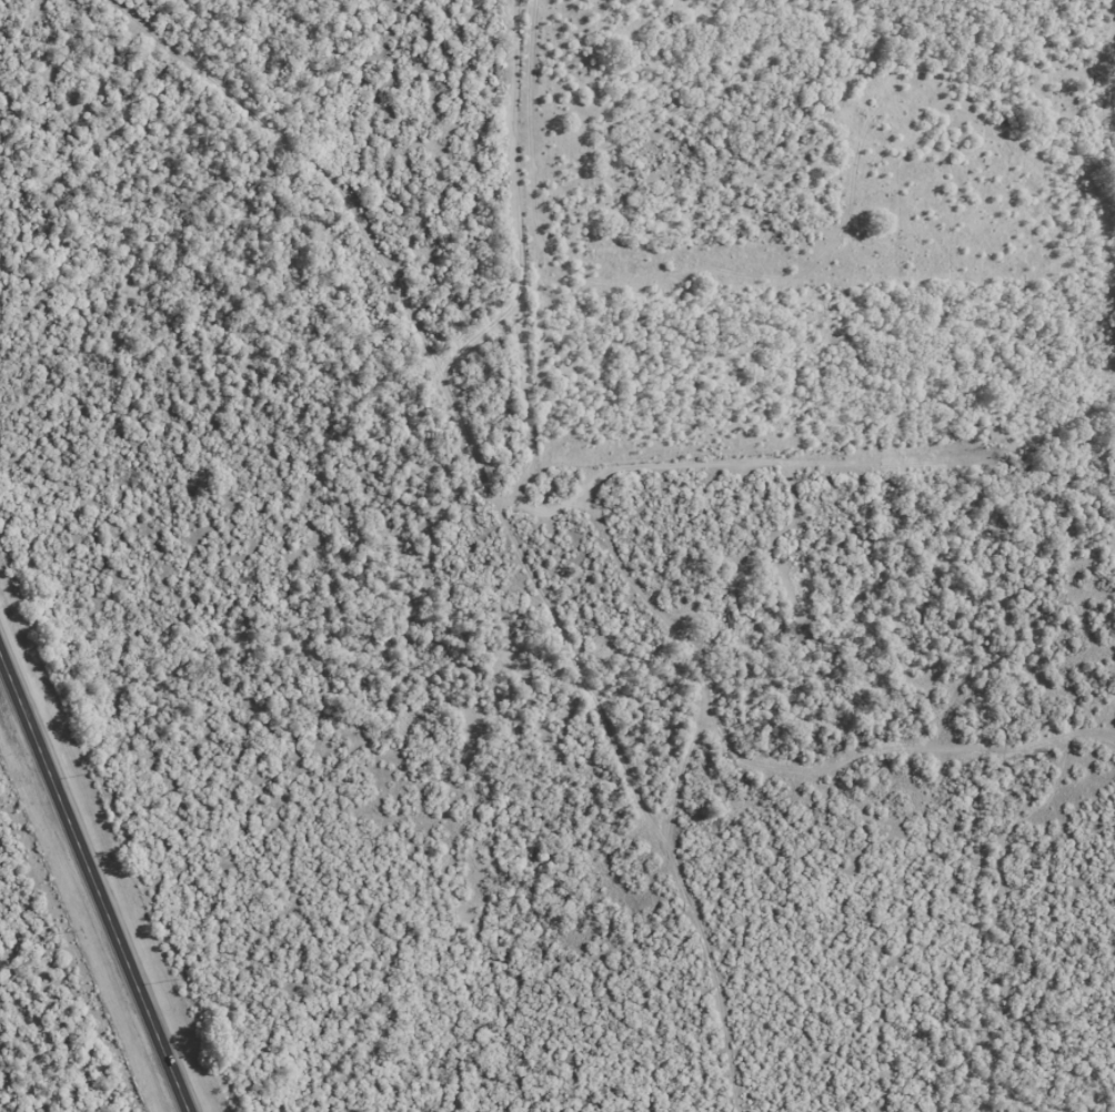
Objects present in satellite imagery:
road: (94, 882)
power tower: (70, 931)

